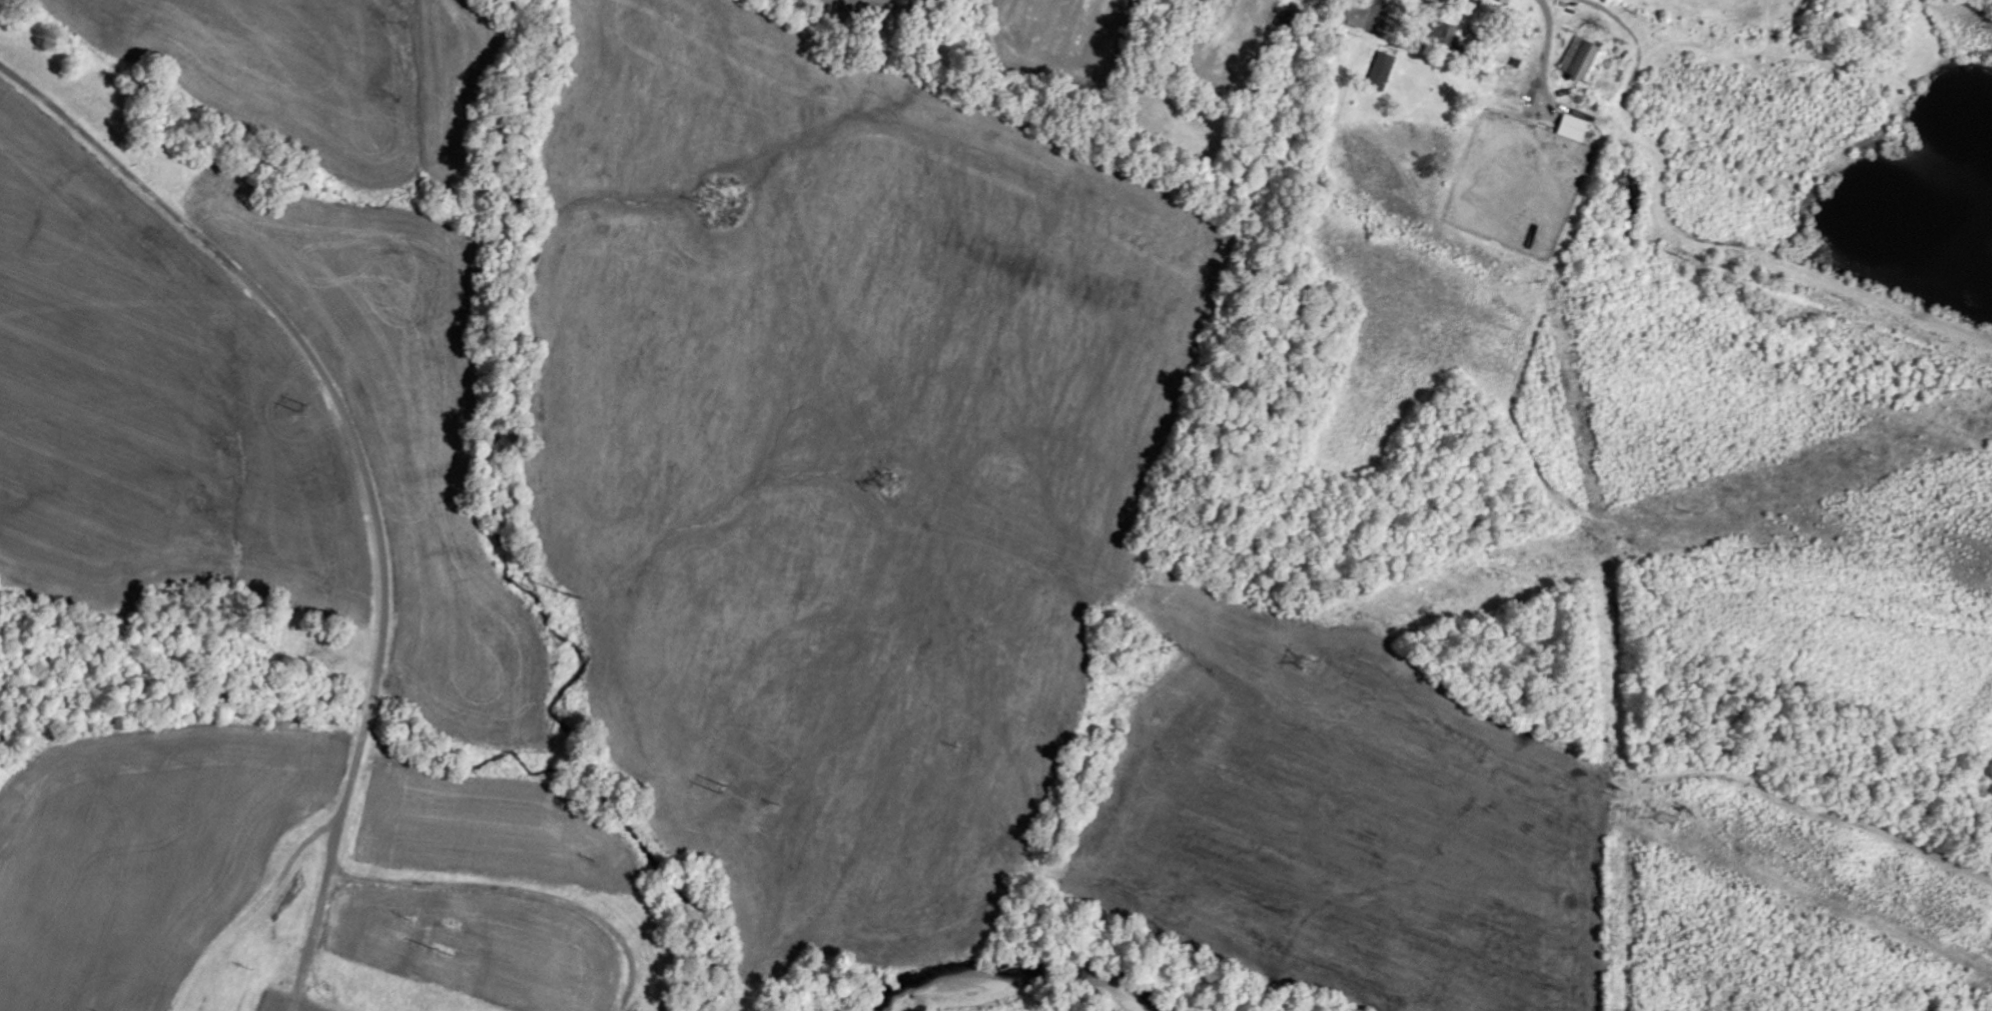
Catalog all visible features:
road: (1377, 9)
building: (1503, 9)
building: (1443, 34)
building: (1583, 61)
building: (1382, 72)
power tower: (307, 411)
power tower: (896, 487)
power tower: (1322, 667)
power tower: (725, 788)
power tower: (1669, 819)
power substation: (280, 1003)

